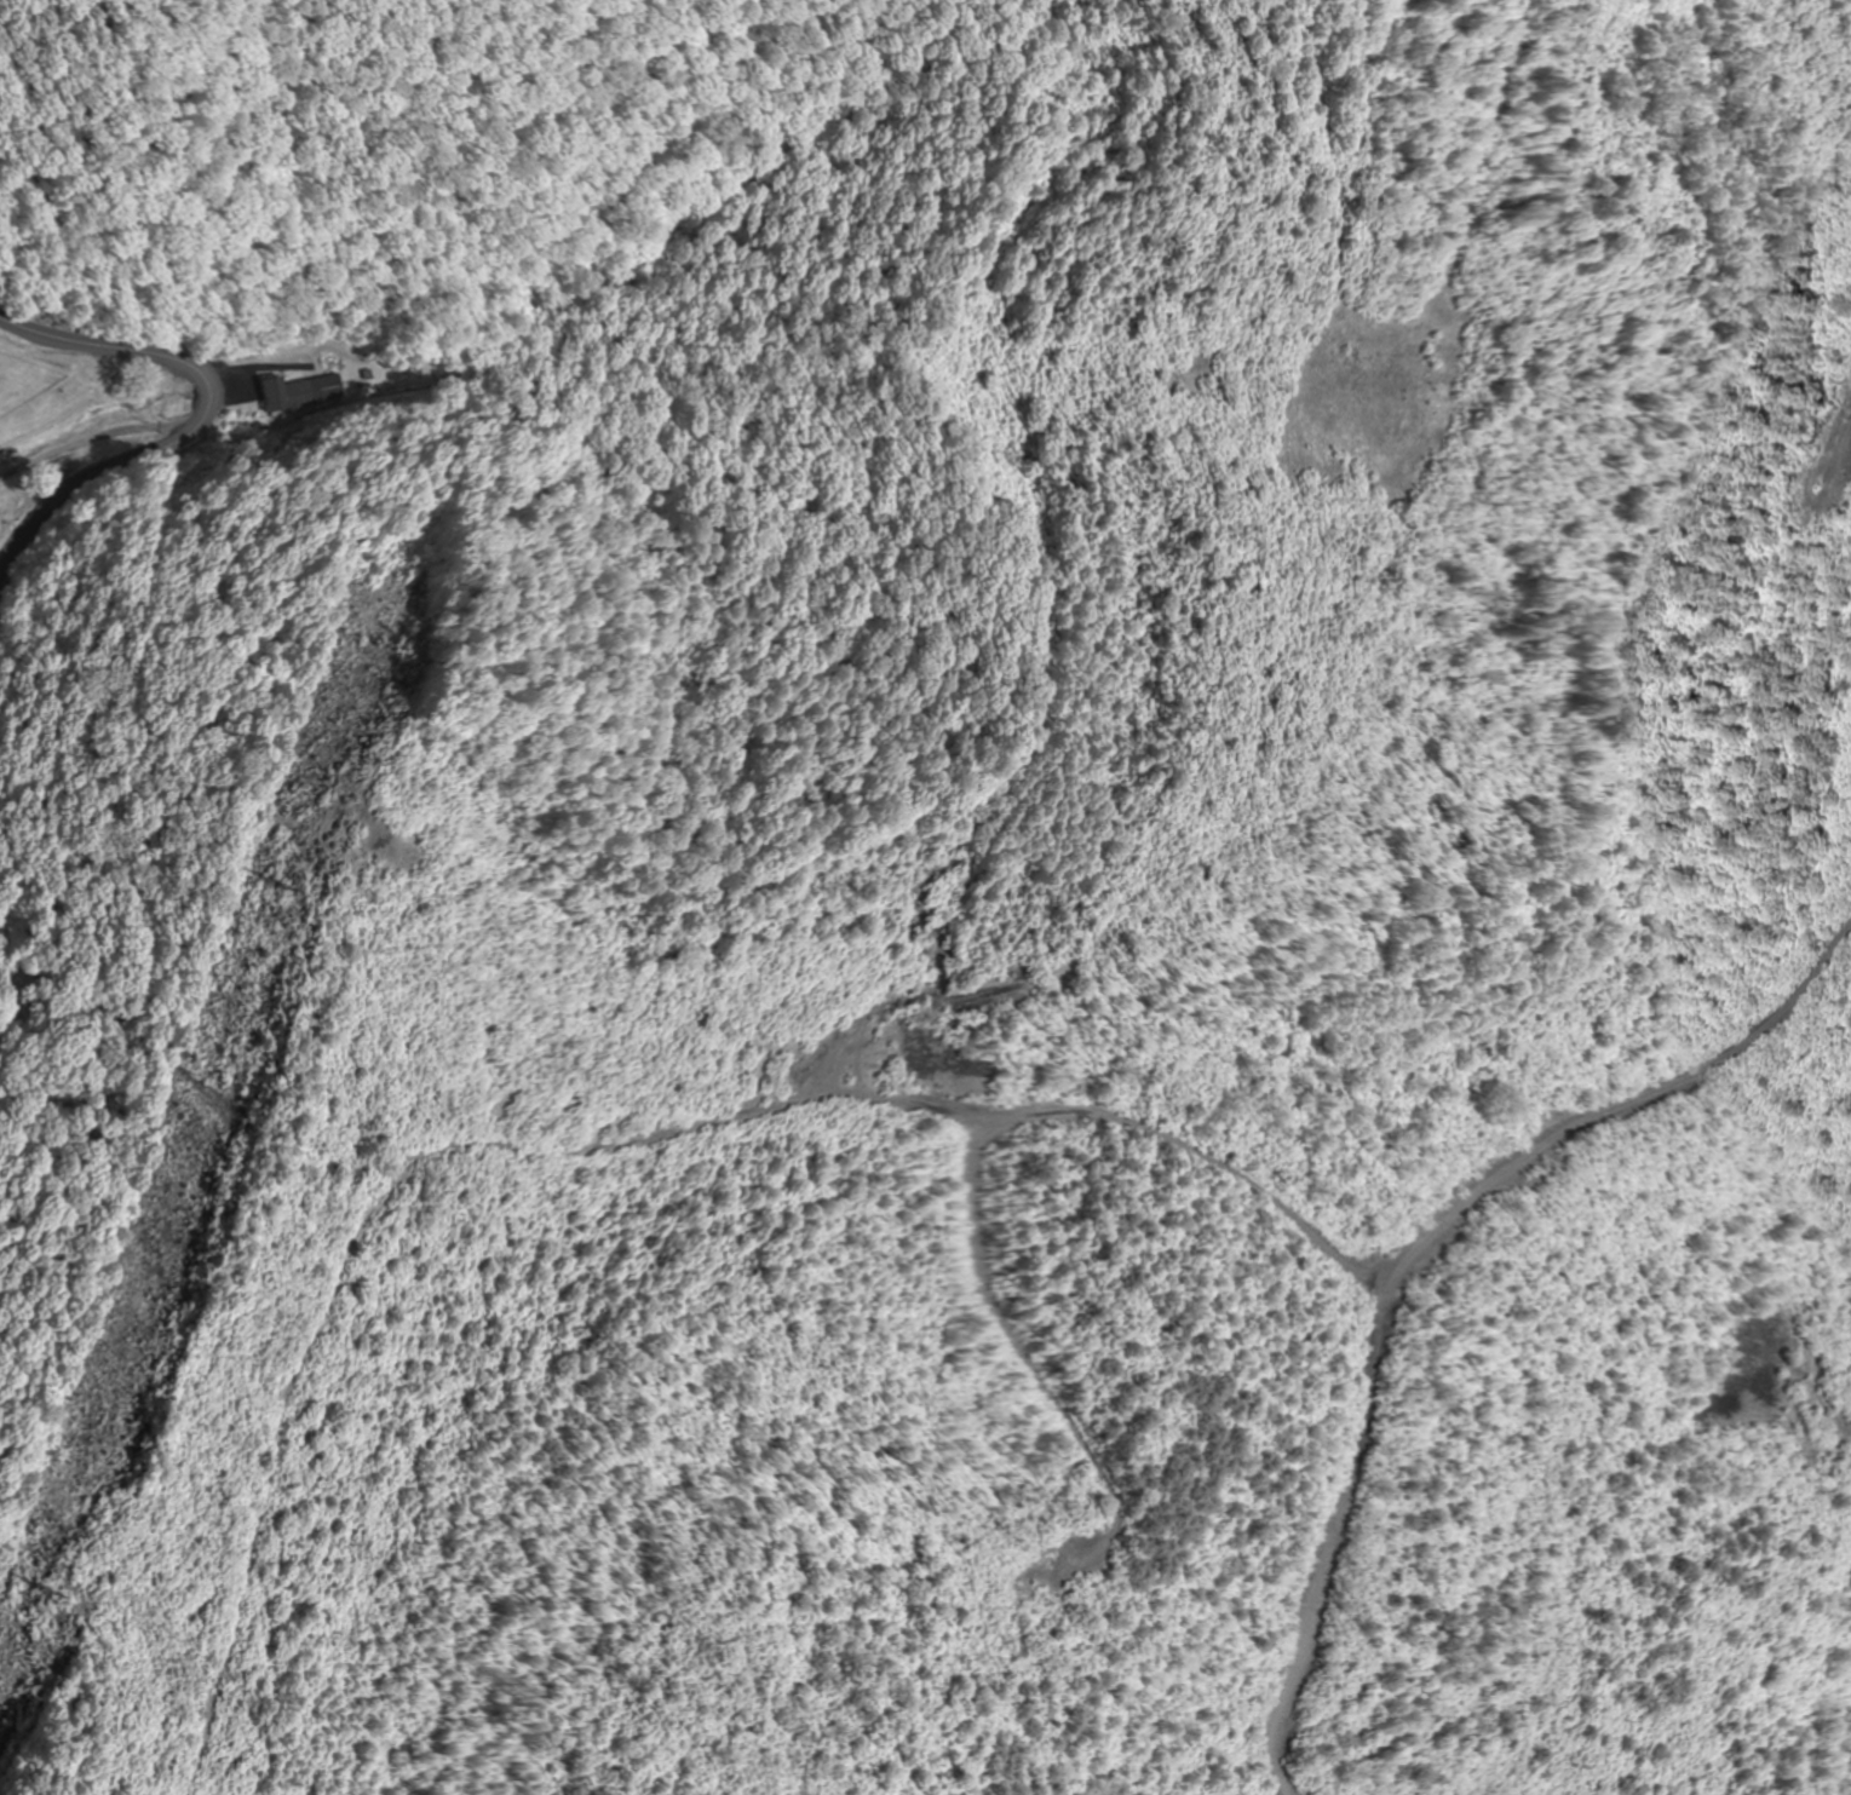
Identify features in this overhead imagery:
building: (280, 396)
road: (202, 418)
power tower: (266, 886)
power tower: (21, 1592)

